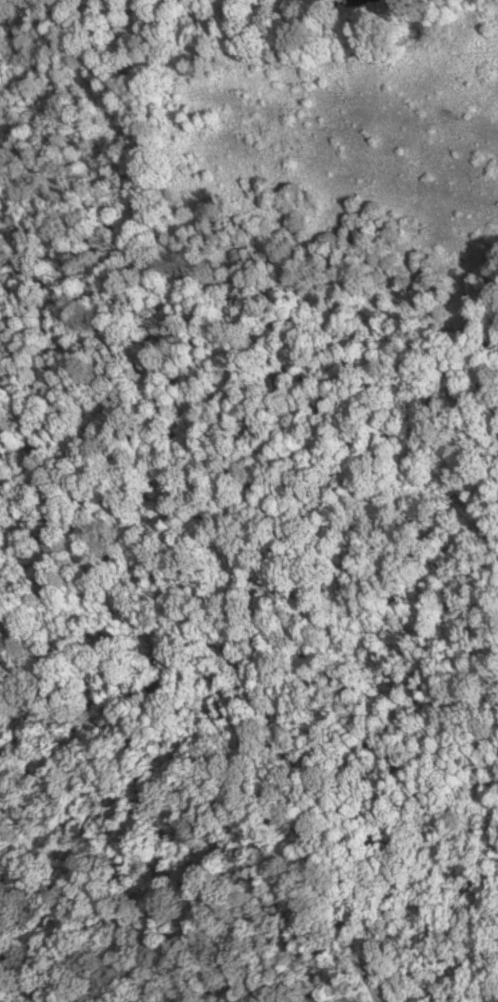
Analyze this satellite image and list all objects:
road: (225, 769)
road: (362, 984)

